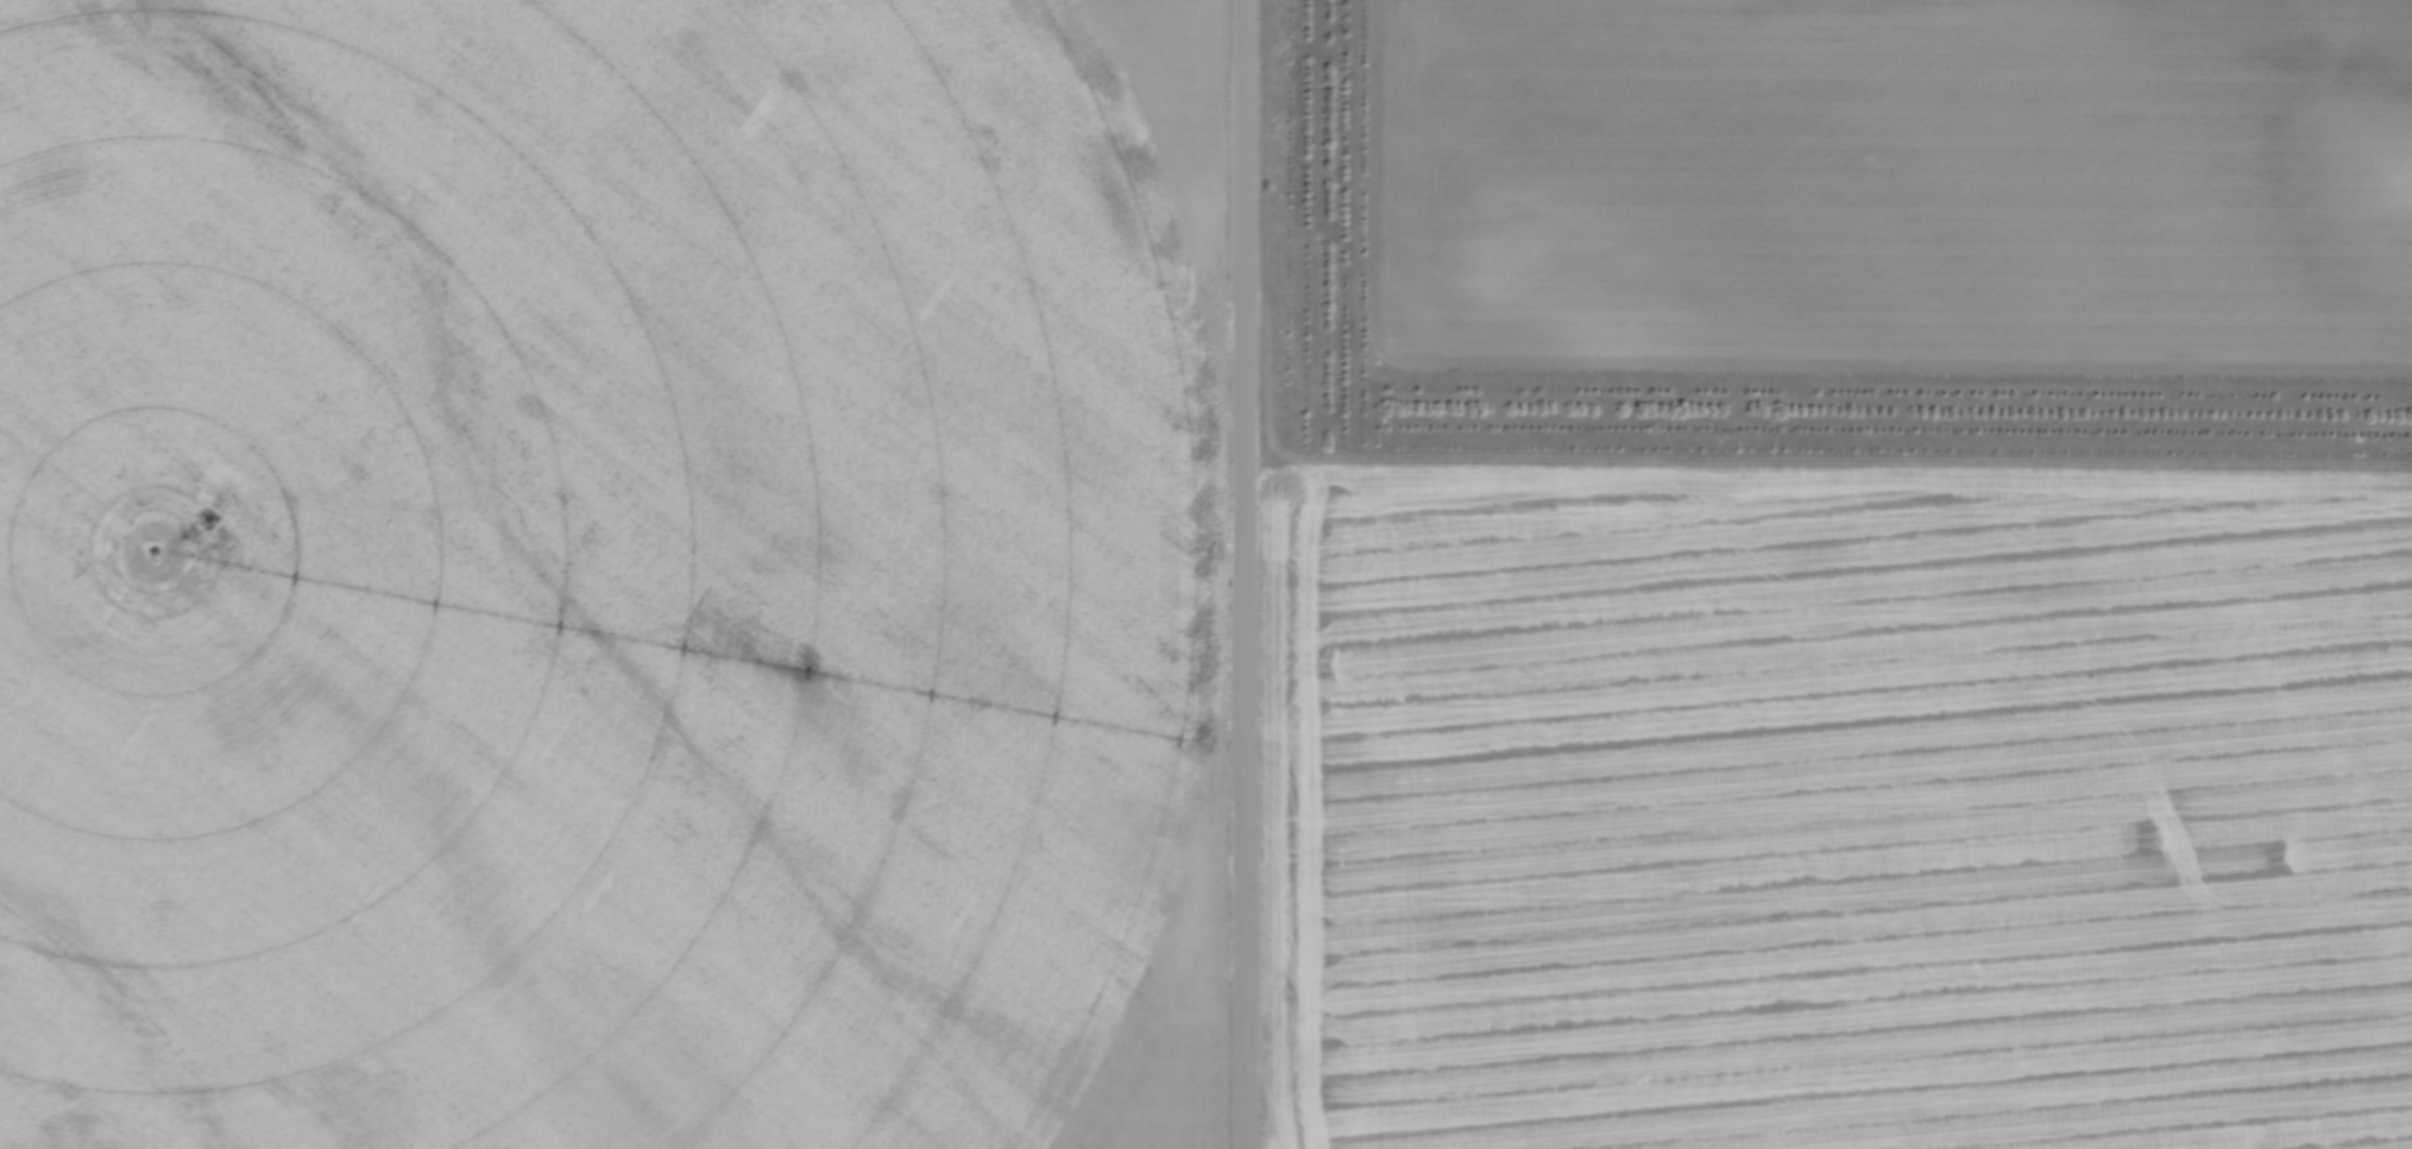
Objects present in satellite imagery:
crop: (1901, 179)
crop: (612, 573)
road: (1242, 574)
crop: (1835, 809)

